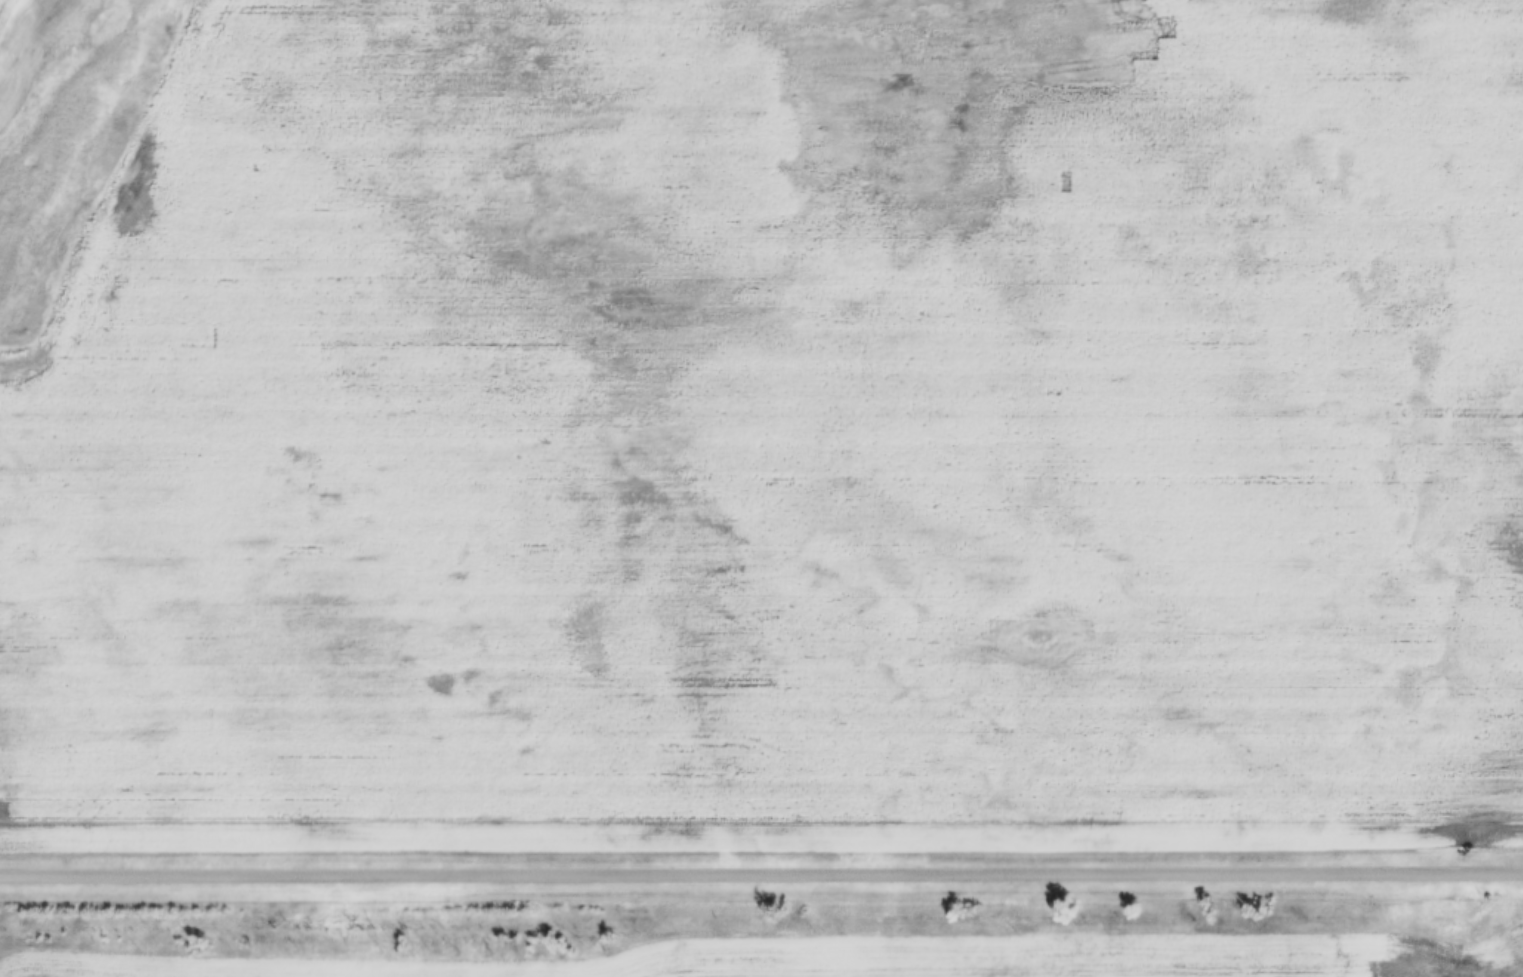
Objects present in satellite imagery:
road: (761, 868)

